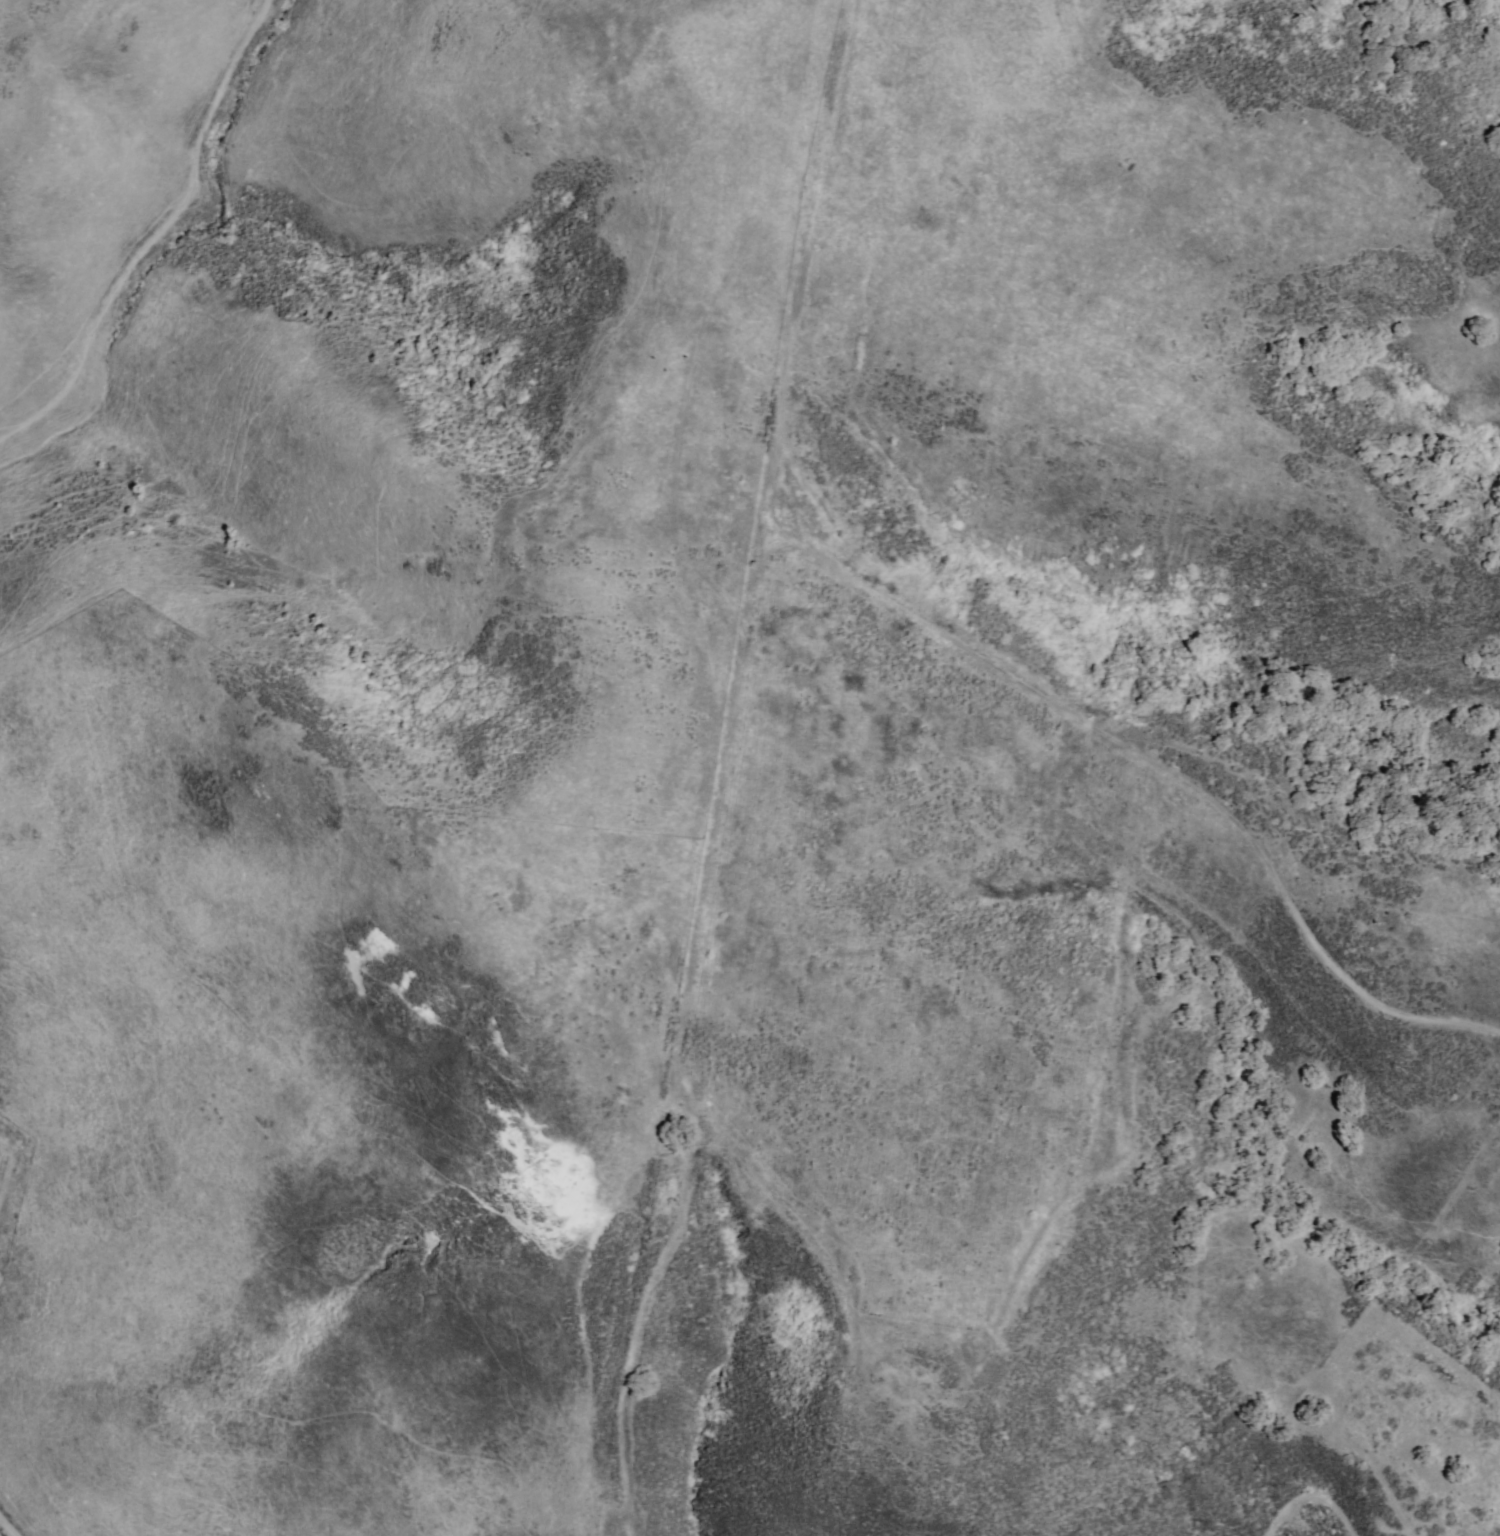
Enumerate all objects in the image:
road: (1098, 741)
crop: (10, 1194)
crop: (16, 1515)
road: (4, 1530)

